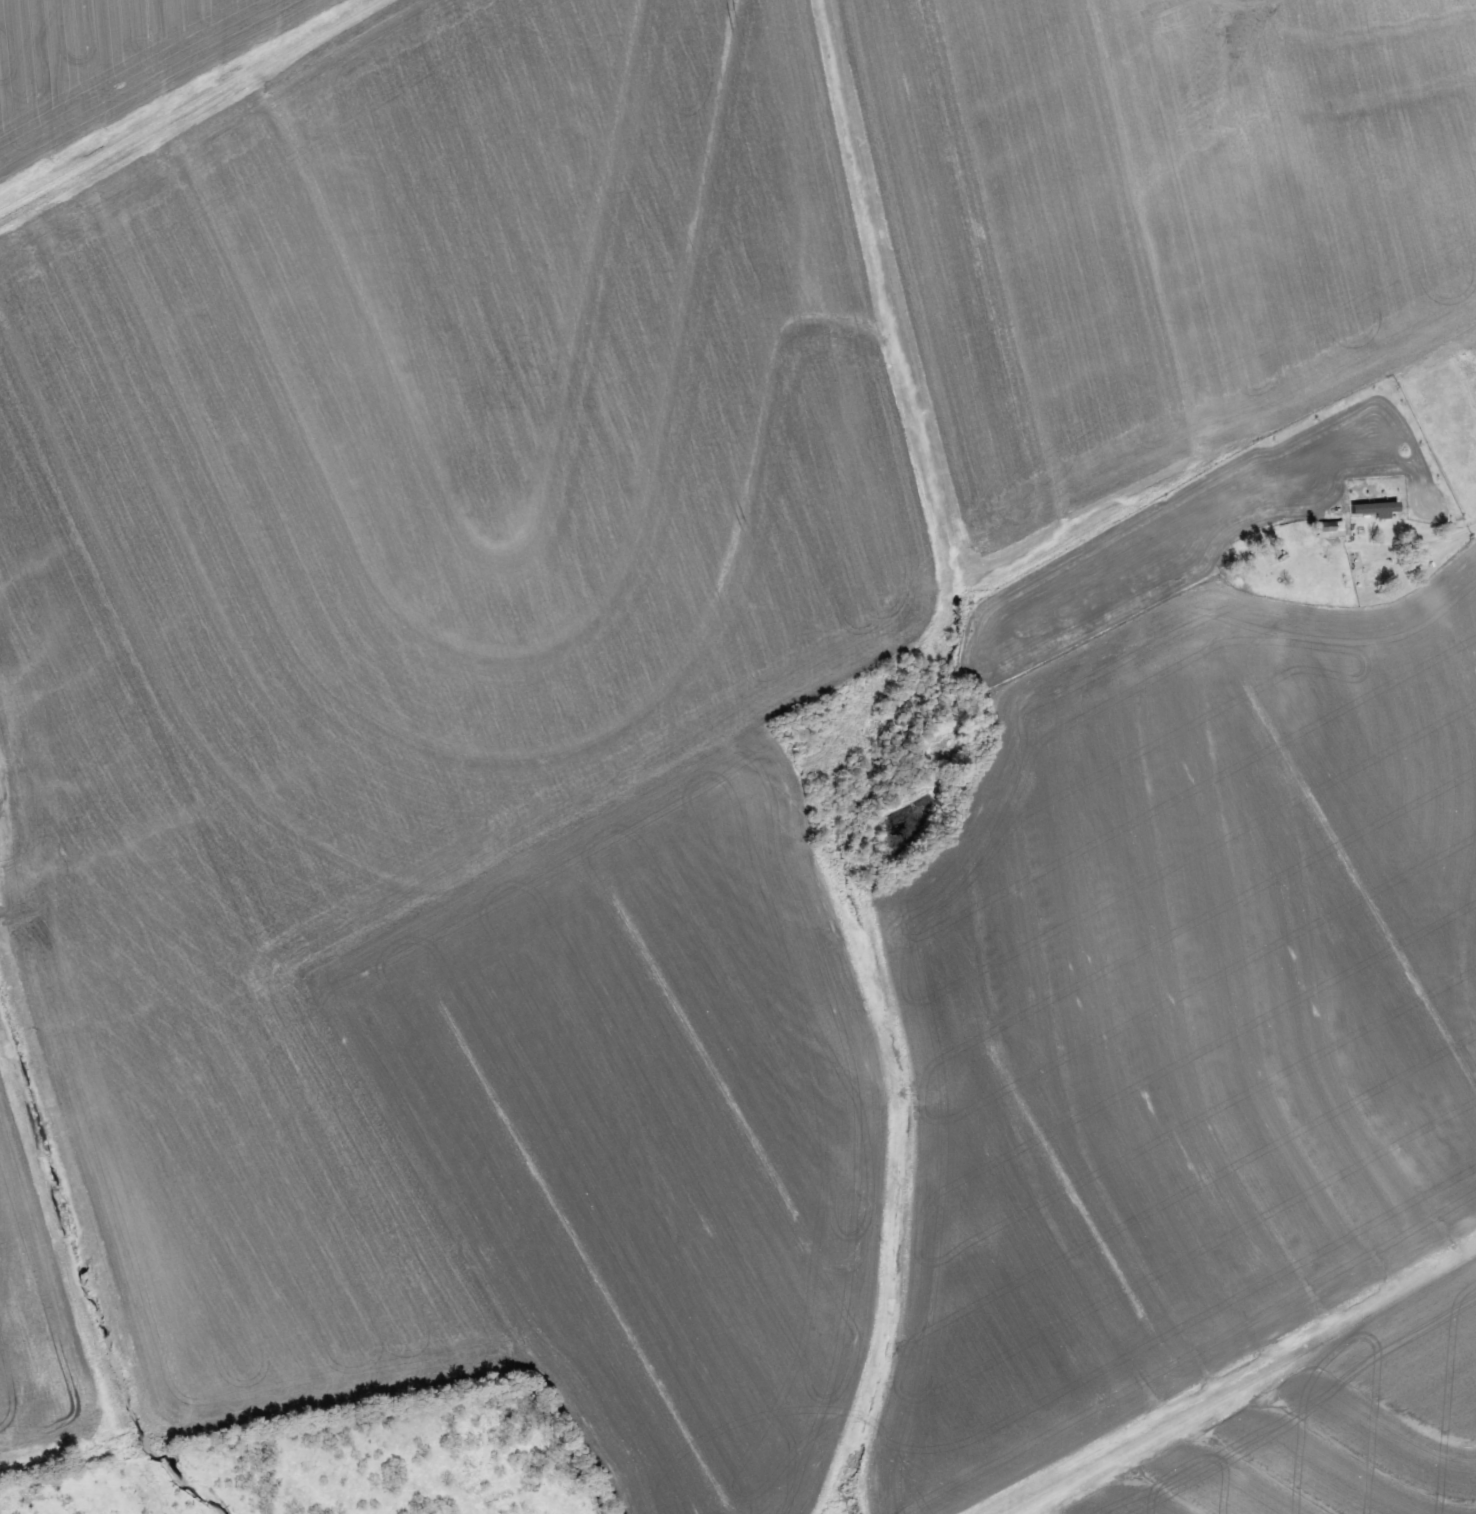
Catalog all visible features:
crop: (116, 64)
crop: (1162, 226)
road: (1444, 543)
building: (1380, 577)

